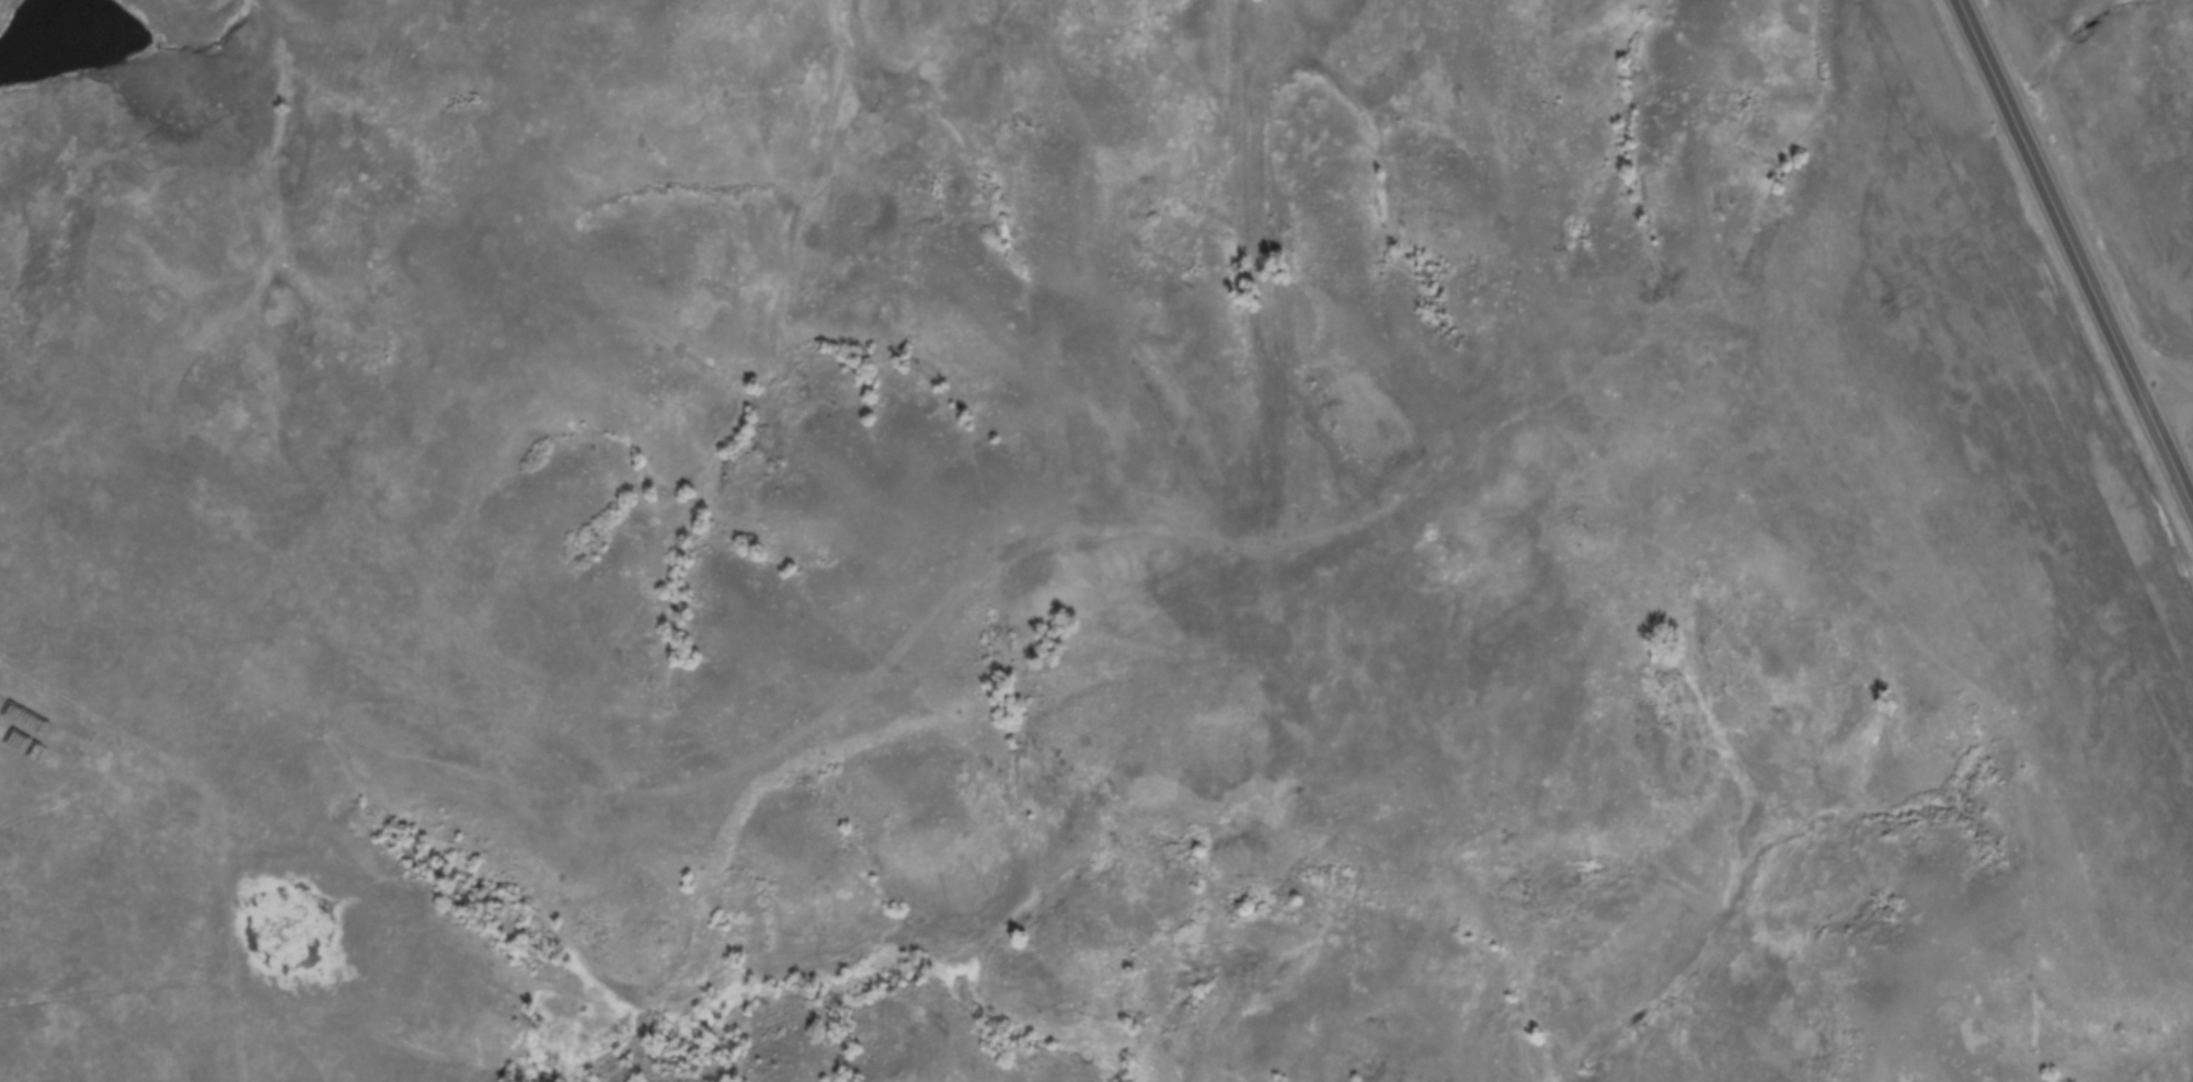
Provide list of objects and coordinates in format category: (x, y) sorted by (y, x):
road: (2075, 253)

